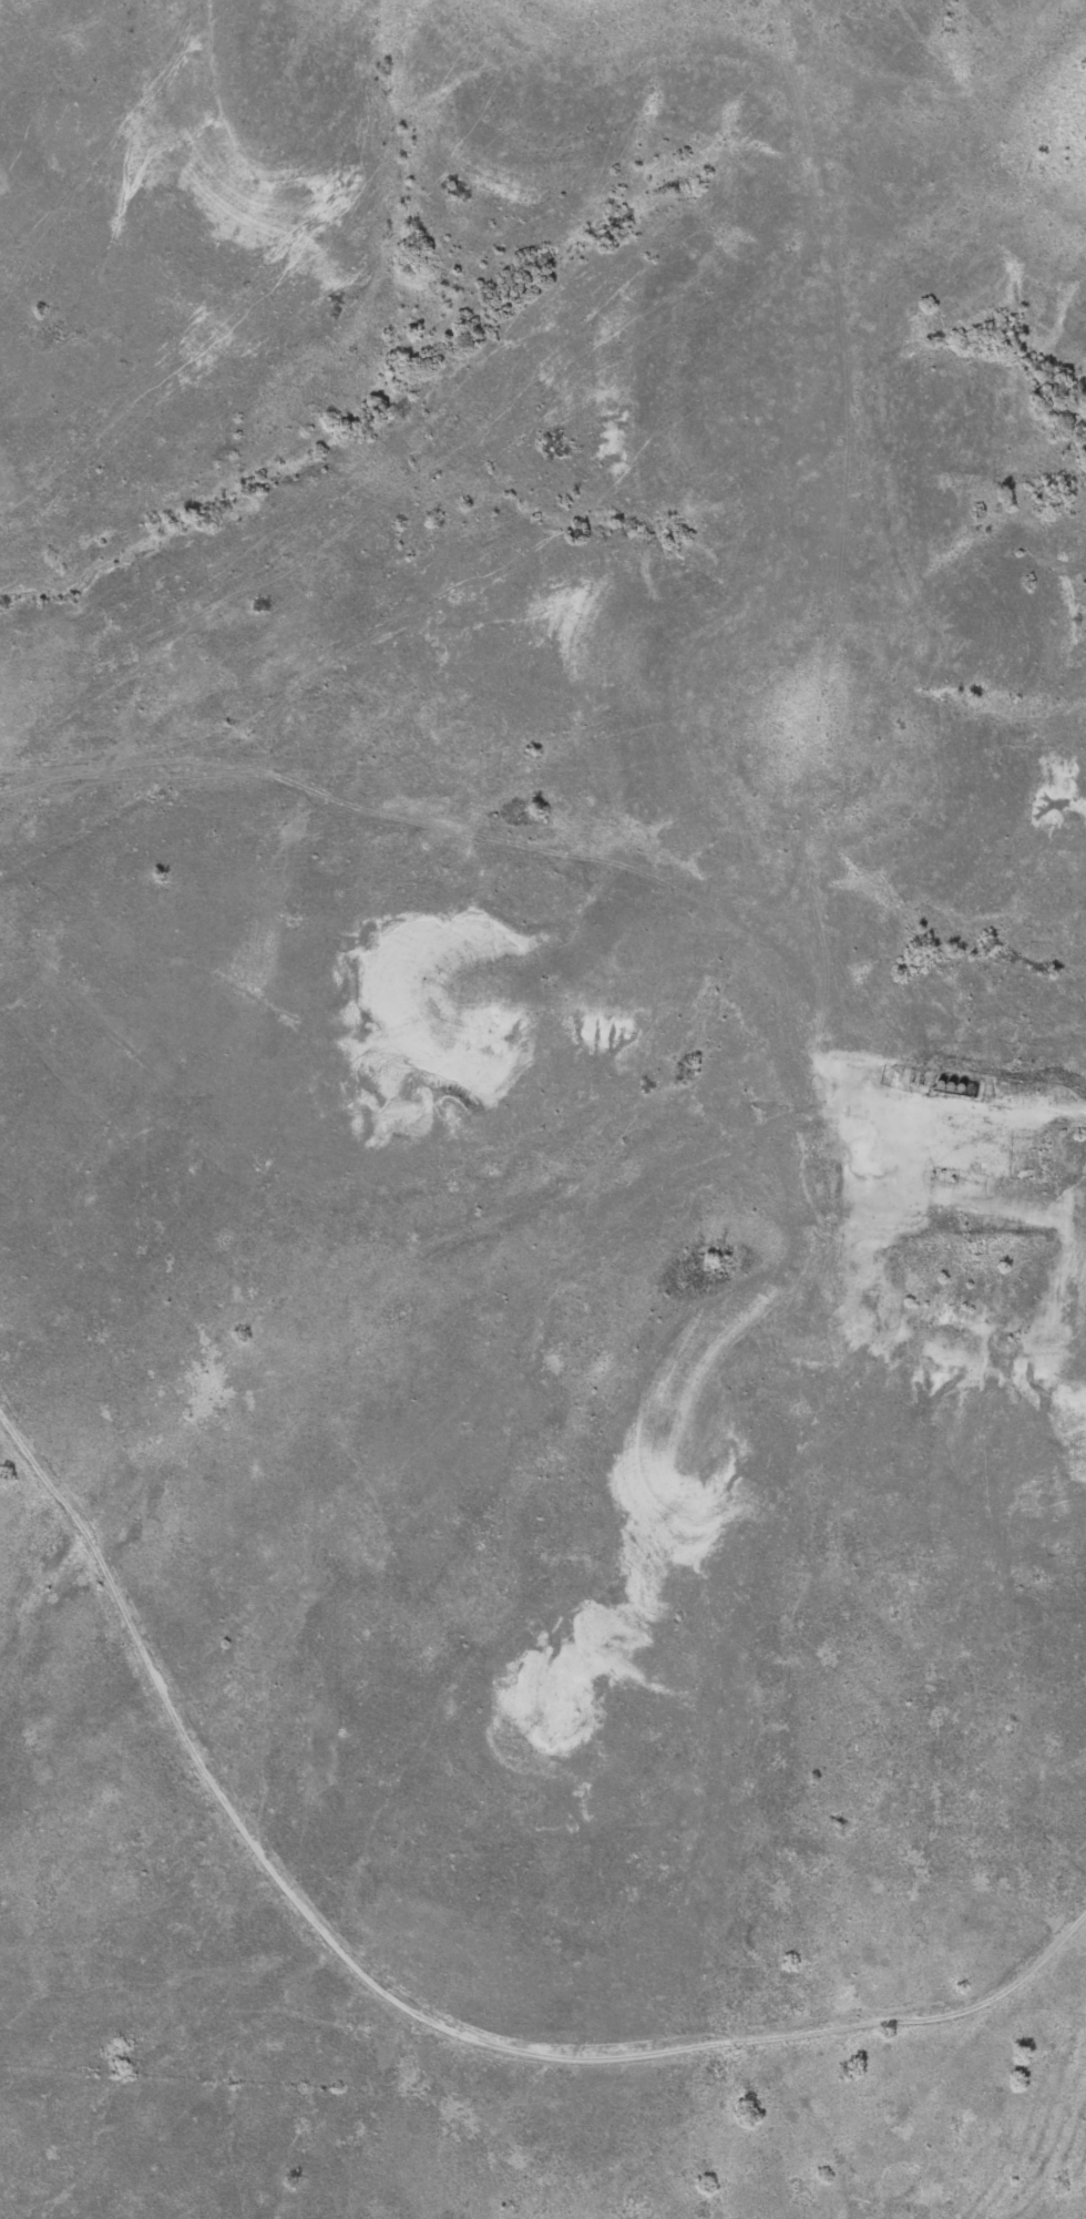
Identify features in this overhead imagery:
road: (988, 1111)
road: (403, 2002)

